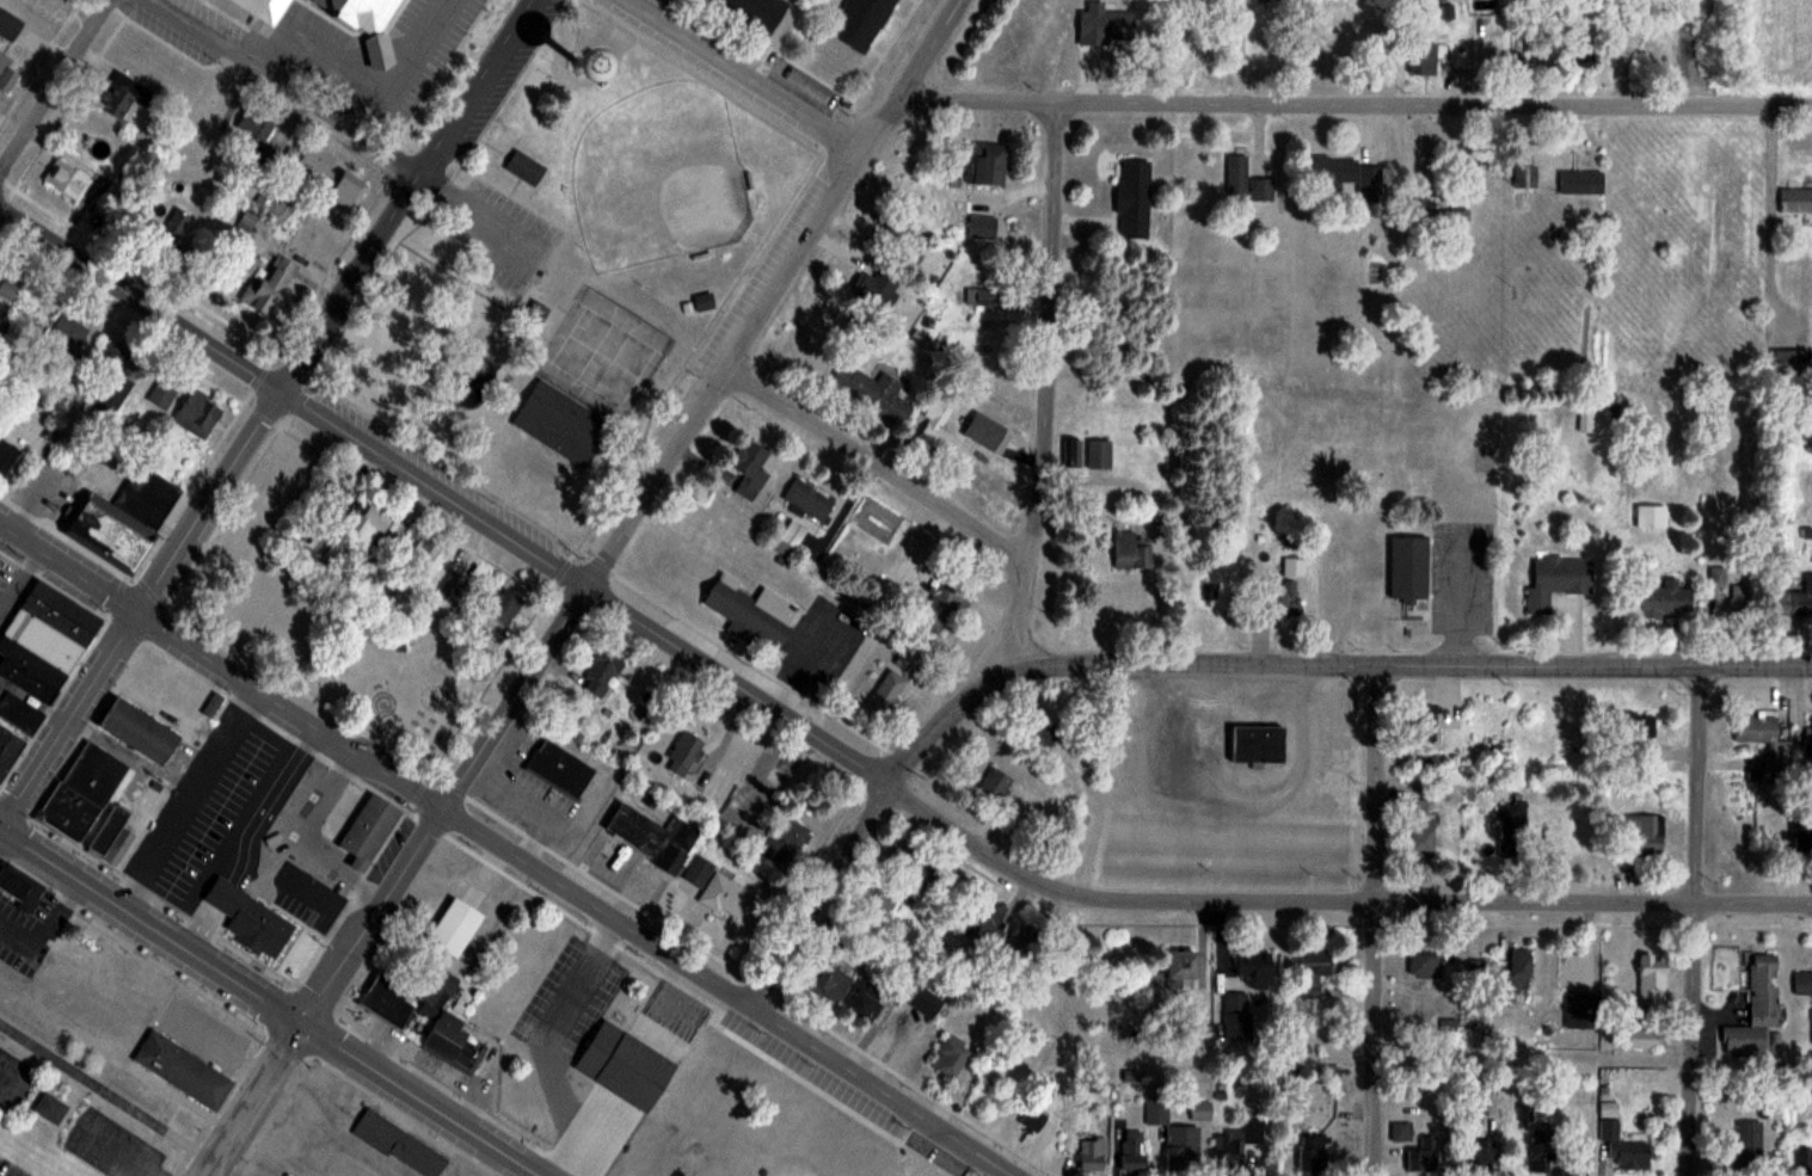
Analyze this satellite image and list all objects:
building: (264, 8)
building: (751, 12)
building: (858, 20)
building: (8, 24)
building: (1480, 24)
building: (438, 26)
building: (1339, 37)
building: (1495, 47)
building: (1584, 54)
building: (1425, 55)
building: (346, 56)
building: (581, 56)
building: (156, 57)
water tower: (581, 59)
building: (6, 73)
road: (745, 73)
road: (913, 75)
road: (53, 82)
road: (289, 86)
building: (116, 97)
road: (1355, 103)
building: (252, 130)
building: (319, 158)
building: (988, 162)
building: (524, 168)
building: (1343, 171)
park: (659, 177)
building: (67, 179)
building: (1580, 180)
building: (1246, 181)
road: (438, 185)
building: (348, 189)
building: (1134, 198)
building: (1795, 201)
road: (504, 226)
building: (171, 227)
parking lot: (504, 235)
building: (908, 241)
park: (570, 270)
building: (270, 284)
building: (10, 285)
building: (982, 295)
building: (704, 301)
building: (4, 322)
building: (68, 331)
building: (809, 347)
park: (603, 356)
building: (1792, 362)
building: (112, 384)
building: (164, 392)
building: (872, 392)
road: (265, 411)
building: (198, 412)
building: (561, 424)
building: (936, 427)
building: (988, 432)
building: (1099, 454)
building: (7, 455)
building: (750, 457)
road: (874, 464)
building: (287, 479)
building: (336, 497)
building: (807, 501)
building: (1651, 516)
building: (123, 521)
building: (368, 523)
building: (792, 534)
building: (1130, 550)
building: (429, 552)
building: (1408, 568)
building: (1716, 575)
building: (1558, 580)
parking lot: (12, 586)
road: (586, 587)
road: (1019, 592)
road: (1460, 596)
building: (1285, 597)
building: (1740, 598)
building: (1795, 599)
building: (1665, 602)
building: (944, 605)
building: (503, 607)
building: (754, 611)
building: (253, 617)
building: (43, 640)
road: (1394, 665)
building: (602, 671)
building: (0, 684)
building: (886, 695)
building: (19, 713)
building: (1421, 718)
building: (1639, 724)
building: (137, 729)
building: (1042, 733)
building: (2, 734)
building: (1762, 735)
building: (1810, 735)
building: (1257, 743)
building: (7, 750)
building: (683, 753)
road: (843, 758)
building: (560, 768)
building: (93, 774)
building: (758, 782)
building: (995, 783)
building: (69, 811)
building: (1419, 827)
building: (108, 829)
building: (1801, 829)
building: (368, 830)
building: (1646, 835)
building: (653, 837)
building: (785, 837)
road: (506, 848)
building: (699, 870)
building: (20, 887)
building: (729, 898)
building: (877, 904)
building: (248, 918)
building: (983, 919)
road: (1372, 919)
road: (1694, 921)
building: (454, 926)
building: (850, 956)
building: (1425, 963)
building: (1255, 968)
building: (1519, 968)
building: (1313, 971)
building: (1183, 973)
building: (1568, 973)
building: (1651, 975)
building: (830, 981)
building: (1802, 983)
building: (388, 998)
building: (862, 999)
road: (269, 1002)
building: (925, 1002)
building: (1756, 1010)
traffic signals: (300, 1022)
building: (1206, 1035)
building: (444, 1036)
building: (1642, 1039)
building: (951, 1055)
building: (624, 1066)
building: (182, 1070)
building: (1327, 1072)
parking lot: (13, 1078)
road: (11, 1080)
road: (251, 1098)
road: (116, 1100)
building: (49, 1108)
building: (1156, 1110)
building: (1200, 1110)
building: (1033, 1117)
building: (1401, 1131)
building: (1749, 1141)
building: (398, 1143)
parking lot: (112, 1146)
building: (1241, 1147)
building: (1623, 1147)
building: (1183, 1149)
building: (1132, 1150)
road: (119, 1151)
building: (1314, 1152)
building: (1093, 1153)
building: (1424, 1156)
building: (1802, 1160)

